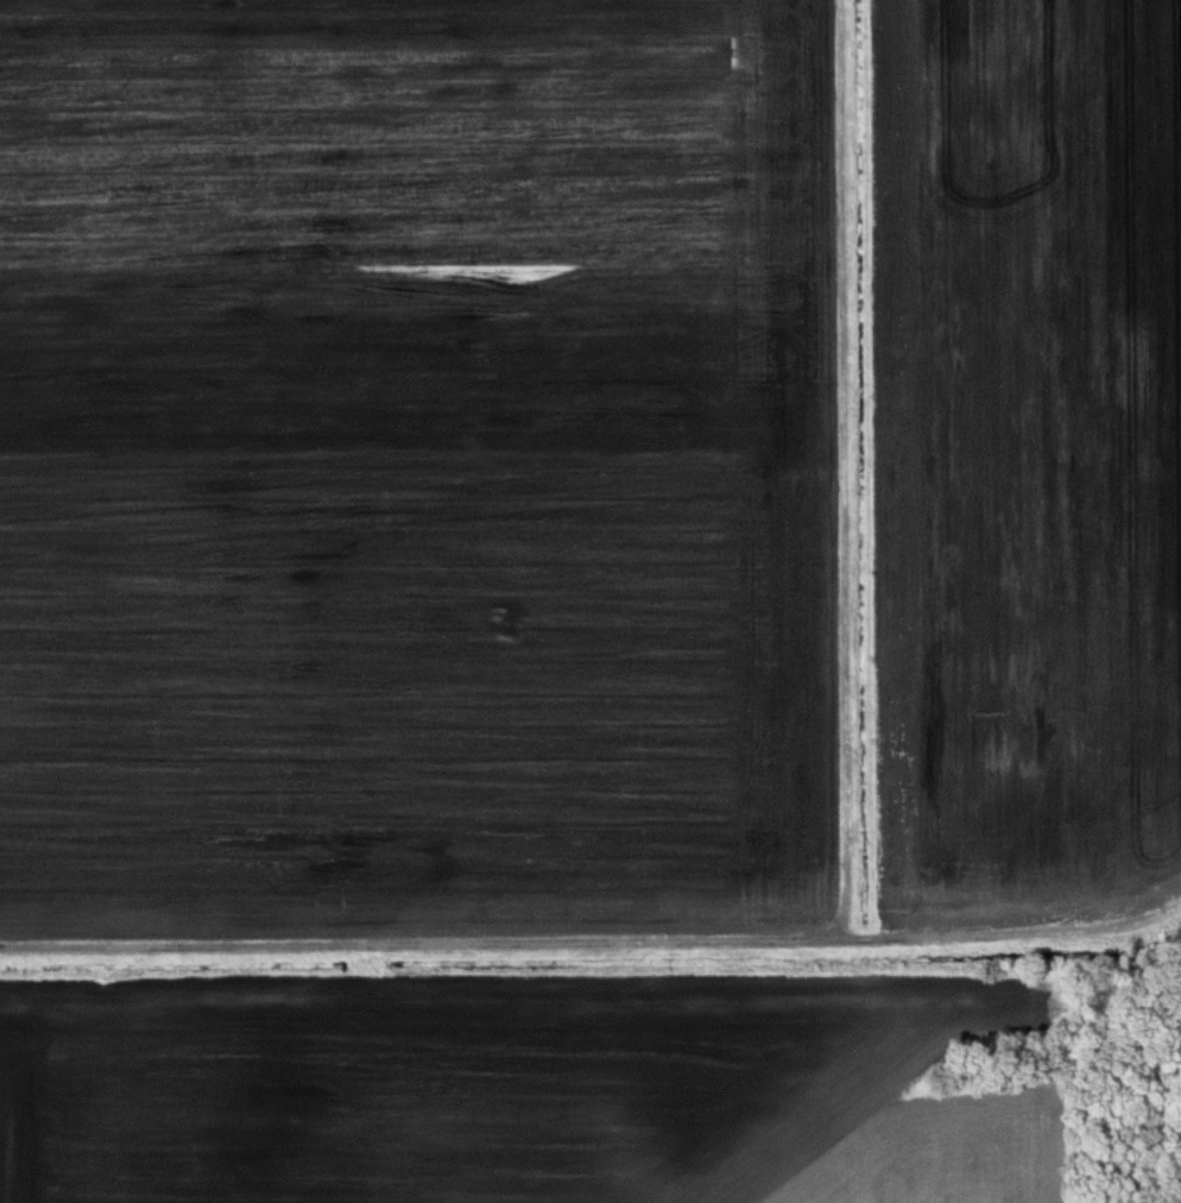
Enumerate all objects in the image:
road: (593, 938)

